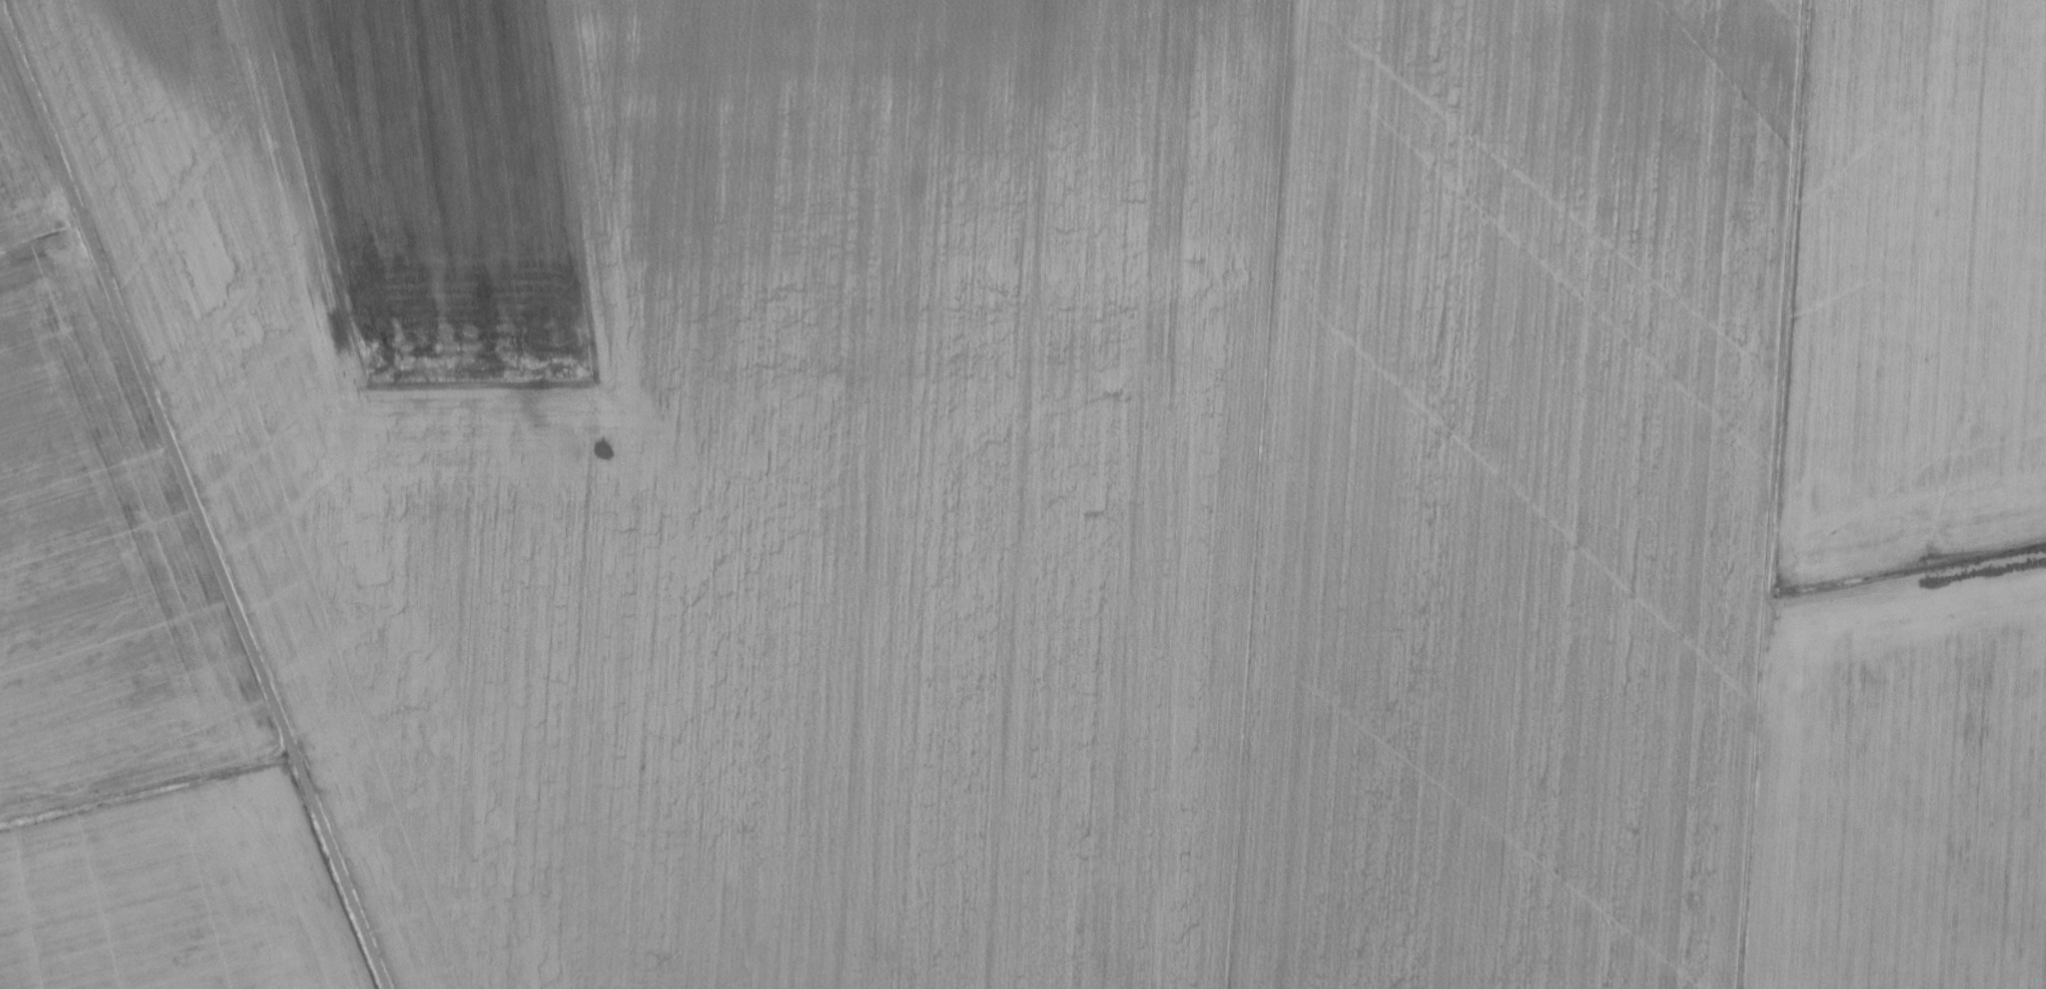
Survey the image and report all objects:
road: (196, 494)

